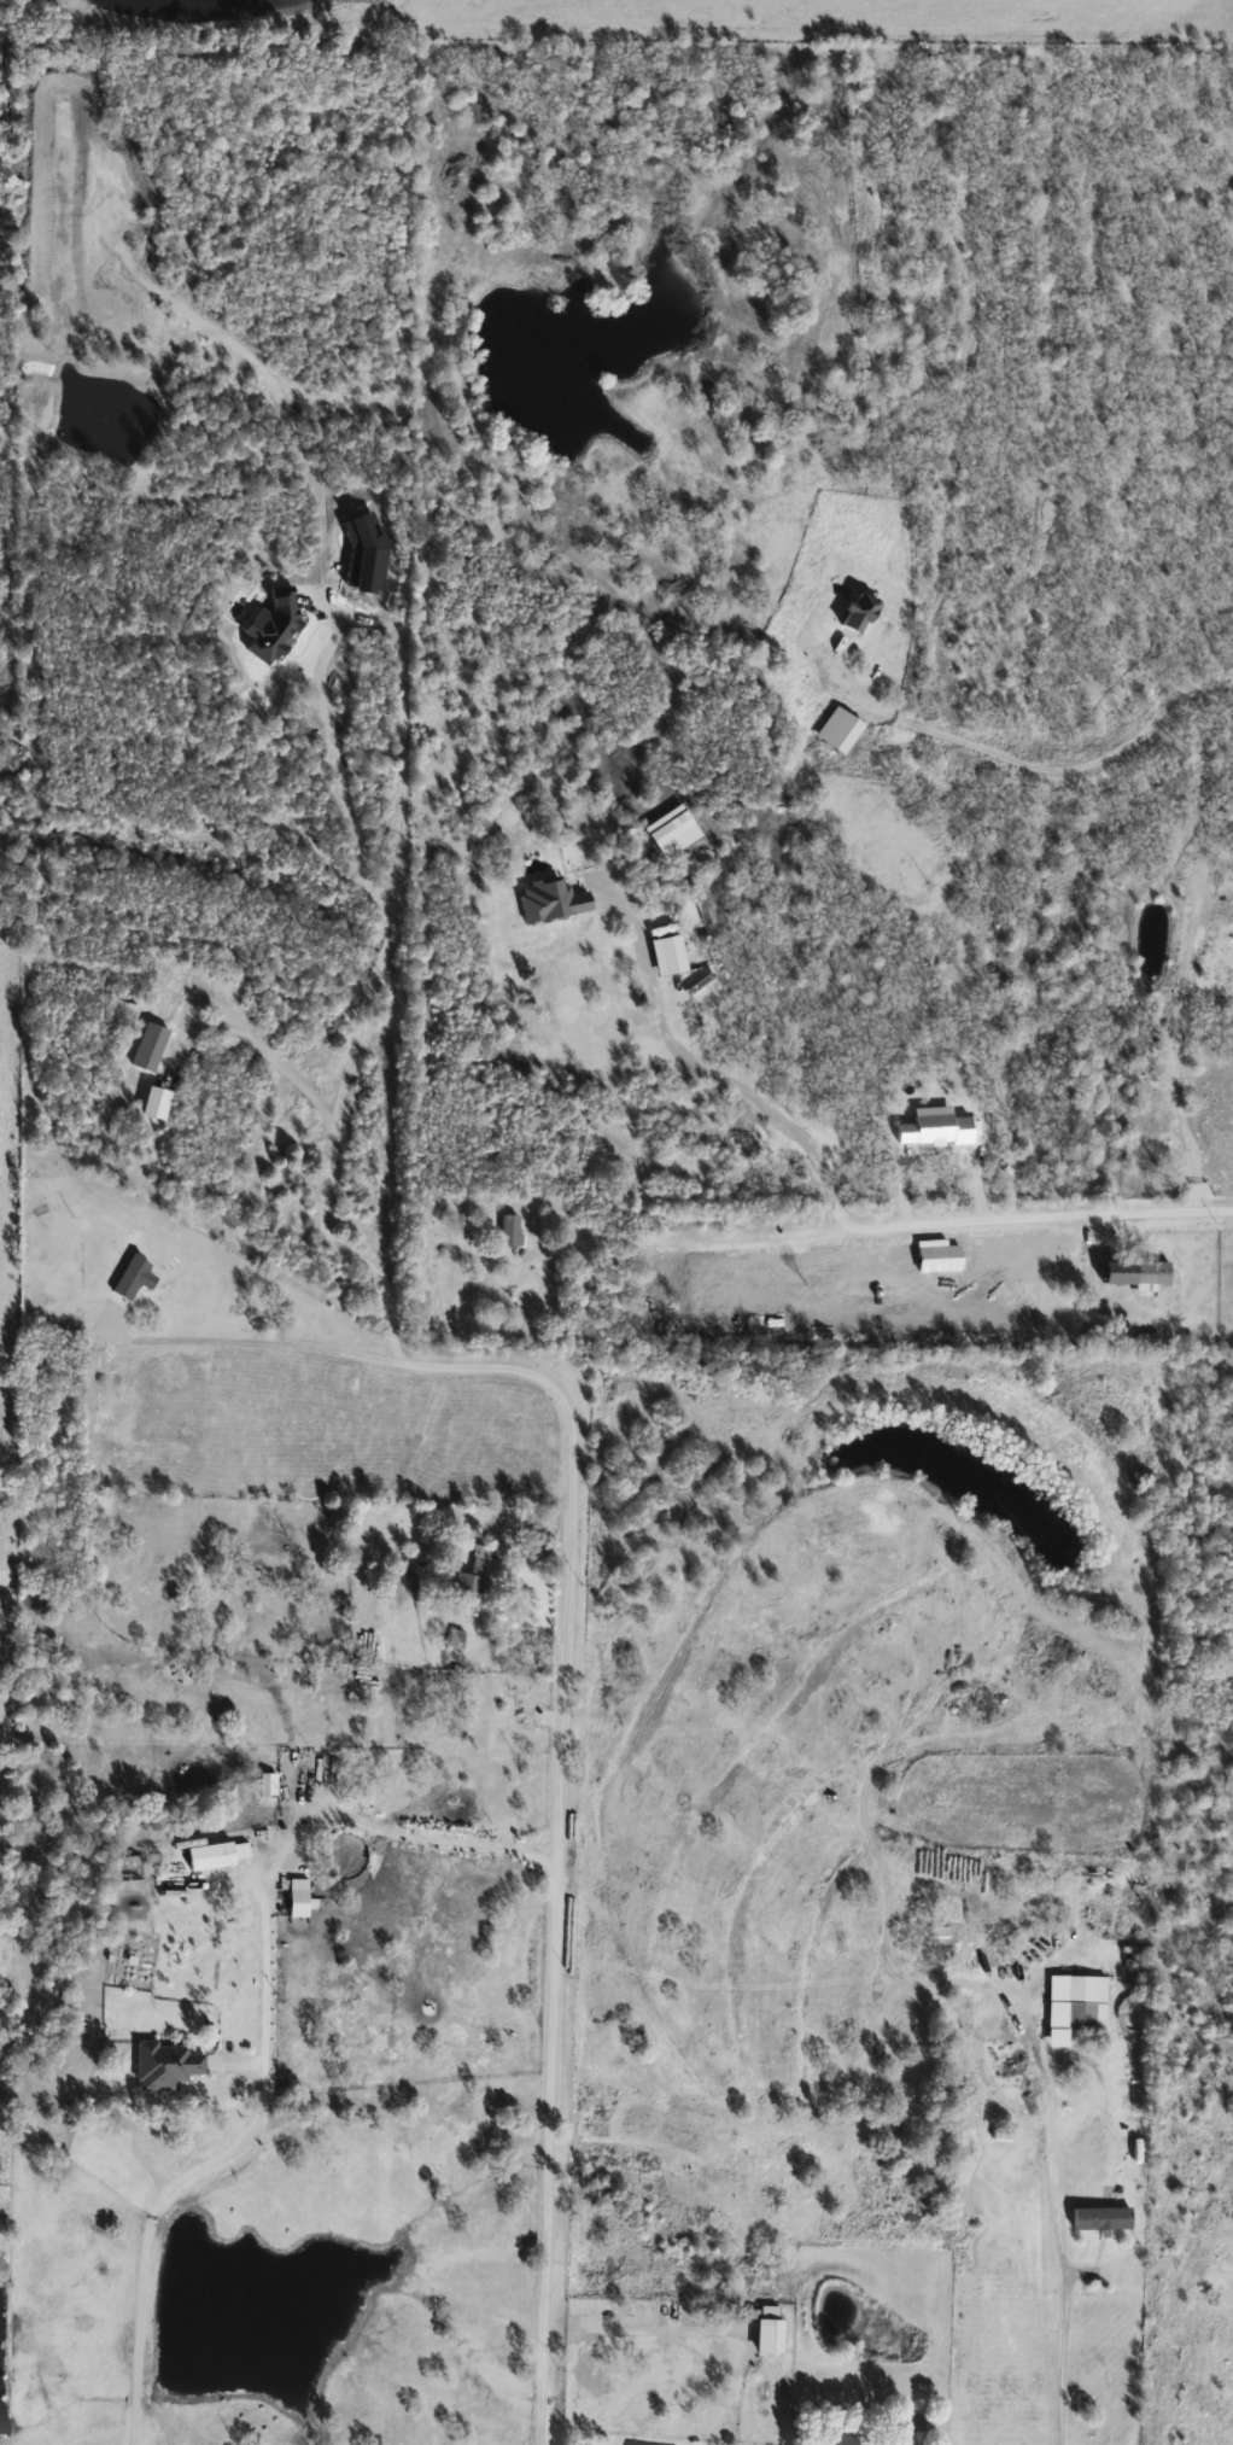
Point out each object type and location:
building: (864, 611)
building: (843, 729)
road: (1028, 761)
road: (286, 1075)
road: (706, 1083)
road: (905, 1225)
building: (514, 1231)
building: (935, 1259)
building: (1132, 1276)
building: (136, 1277)
road: (277, 1349)
road: (572, 1469)
building: (480, 1574)
building: (214, 1856)
building: (302, 1897)
building: (936, 1933)
building: (1085, 2003)
road: (265, 2026)
building: (169, 2065)
building: (1106, 2217)
road: (1063, 2276)
building: (773, 2329)
road: (606, 2339)
building: (865, 2439)

